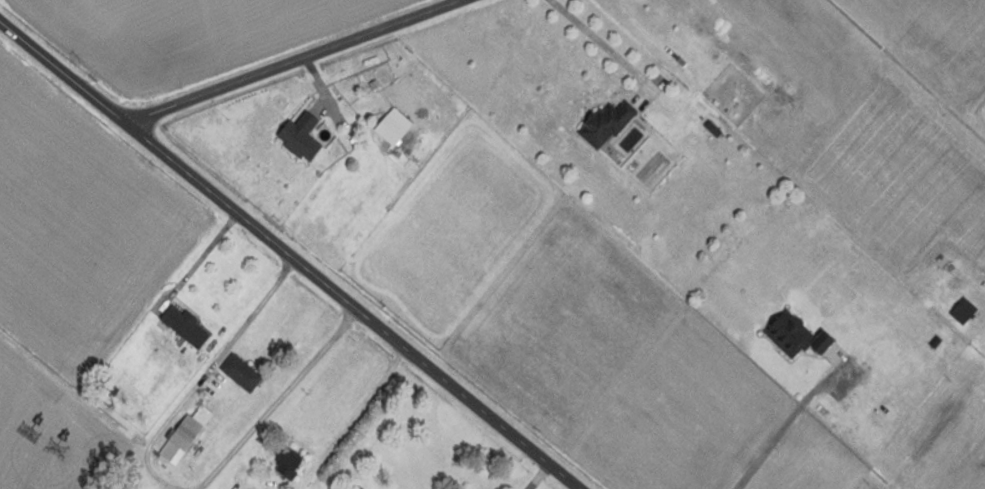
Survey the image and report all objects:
road: (595, 43)
road: (305, 64)
building: (603, 123)
road: (192, 252)
road: (289, 255)
building: (961, 310)
building: (182, 326)
building: (793, 335)
building: (238, 372)
road: (201, 374)
road: (274, 399)
road: (782, 429)
building: (182, 435)
building: (285, 461)
road: (526, 471)

